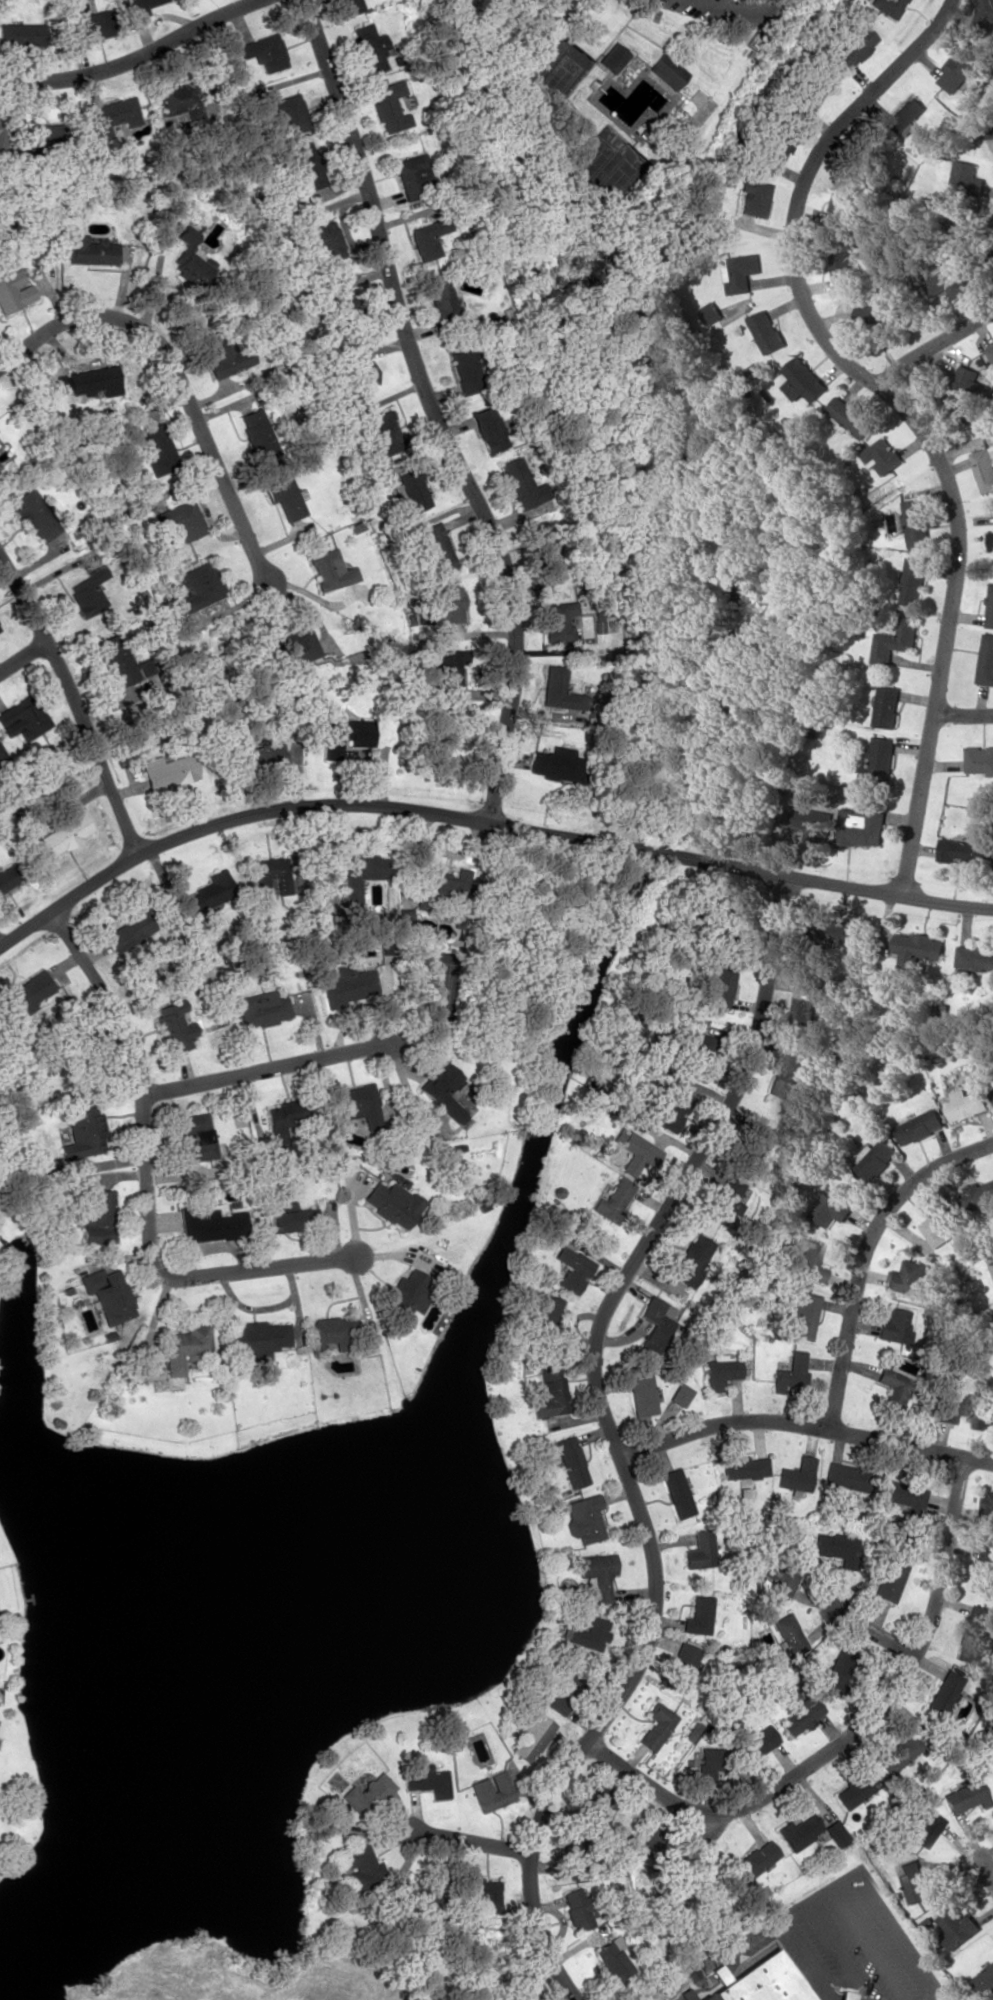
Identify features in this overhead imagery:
building: (348, 6)
building: (138, 7)
building: (887, 7)
building: (987, 11)
building: (91, 26)
building: (21, 34)
building: (368, 47)
building: (852, 47)
building: (263, 51)
road: (134, 56)
building: (612, 57)
building: (666, 70)
building: (959, 70)
building: (810, 93)
building: (175, 99)
building: (387, 106)
building: (908, 111)
building: (286, 113)
building: (113, 116)
building: (3, 129)
building: (987, 130)
building: (45, 135)
building: (774, 152)
building: (870, 157)
building: (303, 163)
building: (412, 176)
building: (965, 179)
building: (753, 197)
building: (842, 206)
building: (426, 237)
building: (992, 244)
building: (89, 250)
building: (187, 257)
building: (842, 268)
building: (741, 272)
building: (945, 282)
building: (13, 290)
building: (440, 298)
building: (338, 301)
building: (879, 317)
building: (766, 331)
road: (933, 346)
building: (990, 351)
building: (226, 355)
building: (464, 366)
building: (357, 369)
road: (177, 377)
building: (802, 380)
building: (92, 382)
building: (56, 384)
building: (964, 384)
road: (901, 410)
road: (431, 411)
building: (849, 417)
building: (488, 429)
building: (255, 432)
building: (384, 433)
building: (155, 449)
building: (881, 456)
building: (984, 468)
building: (410, 490)
building: (283, 495)
building: (32, 514)
building: (179, 522)
building: (915, 523)
building: (991, 540)
building: (537, 544)
building: (435, 548)
building: (328, 569)
building: (913, 580)
building: (197, 588)
building: (87, 592)
building: (445, 604)
building: (990, 606)
building: (557, 621)
building: (894, 639)
building: (296, 646)
road: (21, 653)
building: (116, 659)
building: (986, 660)
building: (447, 672)
building: (559, 690)
building: (886, 706)
road: (72, 707)
road: (963, 714)
building: (21, 718)
building: (344, 735)
building: (258, 753)
building: (978, 759)
building: (877, 762)
building: (556, 764)
building: (2, 767)
building: (168, 771)
road: (481, 822)
building: (811, 824)
building: (861, 826)
building: (64, 834)
building: (961, 849)
building: (364, 866)
building: (272, 873)
building: (9, 876)
building: (210, 891)
building: (445, 891)
building: (352, 895)
building: (403, 922)
building: (129, 929)
building: (731, 938)
building: (917, 948)
building: (975, 957)
building: (346, 984)
building: (719, 984)
building: (25, 992)
building: (804, 1005)
building: (260, 1008)
building: (174, 1025)
building: (704, 1051)
road: (266, 1067)
building: (790, 1072)
building: (991, 1087)
building: (442, 1090)
building: (357, 1104)
building: (966, 1104)
building: (669, 1106)
building: (287, 1116)
building: (919, 1126)
building: (82, 1129)
building: (196, 1136)
building: (753, 1146)
building: (638, 1153)
building: (876, 1158)
road: (145, 1179)
building: (614, 1196)
building: (724, 1201)
building: (392, 1202)
building: (830, 1209)
building: (97, 1218)
building: (286, 1219)
building: (212, 1224)
building: (942, 1226)
road: (861, 1254)
building: (689, 1260)
building: (809, 1260)
building: (571, 1268)
building: (907, 1277)
building: (107, 1294)
building: (405, 1294)
building: (545, 1311)
building: (803, 1315)
building: (656, 1323)
building: (895, 1325)
building: (327, 1333)
building: (259, 1337)
building: (184, 1346)
building: (792, 1373)
building: (716, 1377)
building: (893, 1383)
building: (641, 1391)
building: (550, 1392)
building: (680, 1394)
building: (956, 1402)
building: (983, 1419)
road: (803, 1426)
road: (612, 1441)
building: (570, 1461)
building: (744, 1467)
building: (797, 1474)
building: (848, 1477)
building: (676, 1493)
building: (903, 1496)
building: (987, 1510)
building: (583, 1517)
building: (700, 1550)
building: (984, 1571)
building: (596, 1573)
building: (787, 1575)
building: (891, 1577)
building: (699, 1615)
road: (873, 1632)
building: (972, 1633)
building: (788, 1634)
building: (587, 1635)
building: (680, 1666)
building: (837, 1671)
building: (566, 1691)
building: (940, 1693)
building: (801, 1715)
building: (655, 1726)
road: (848, 1733)
building: (531, 1736)
building: (992, 1736)
building: (759, 1741)
building: (897, 1751)
building: (703, 1763)
building: (425, 1779)
building: (854, 1788)
building: (490, 1791)
building: (365, 1793)
building: (965, 1796)
building: (922, 1826)
building: (798, 1831)
building: (834, 1833)
road: (469, 1839)
building: (575, 1846)
building: (656, 1848)
building: (754, 1860)
building: (360, 1865)
road: (987, 1877)
building: (914, 1880)
building: (483, 1895)
building: (575, 1908)
road: (894, 1924)
building: (956, 1926)
road: (743, 1940)
road: (871, 1942)
road: (835, 1948)
road: (813, 1959)
building: (611, 1960)
building: (984, 1980)
building: (758, 1981)
building: (686, 1994)
building: (845, 1995)
road: (867, 1996)
building: (703, 1997)

